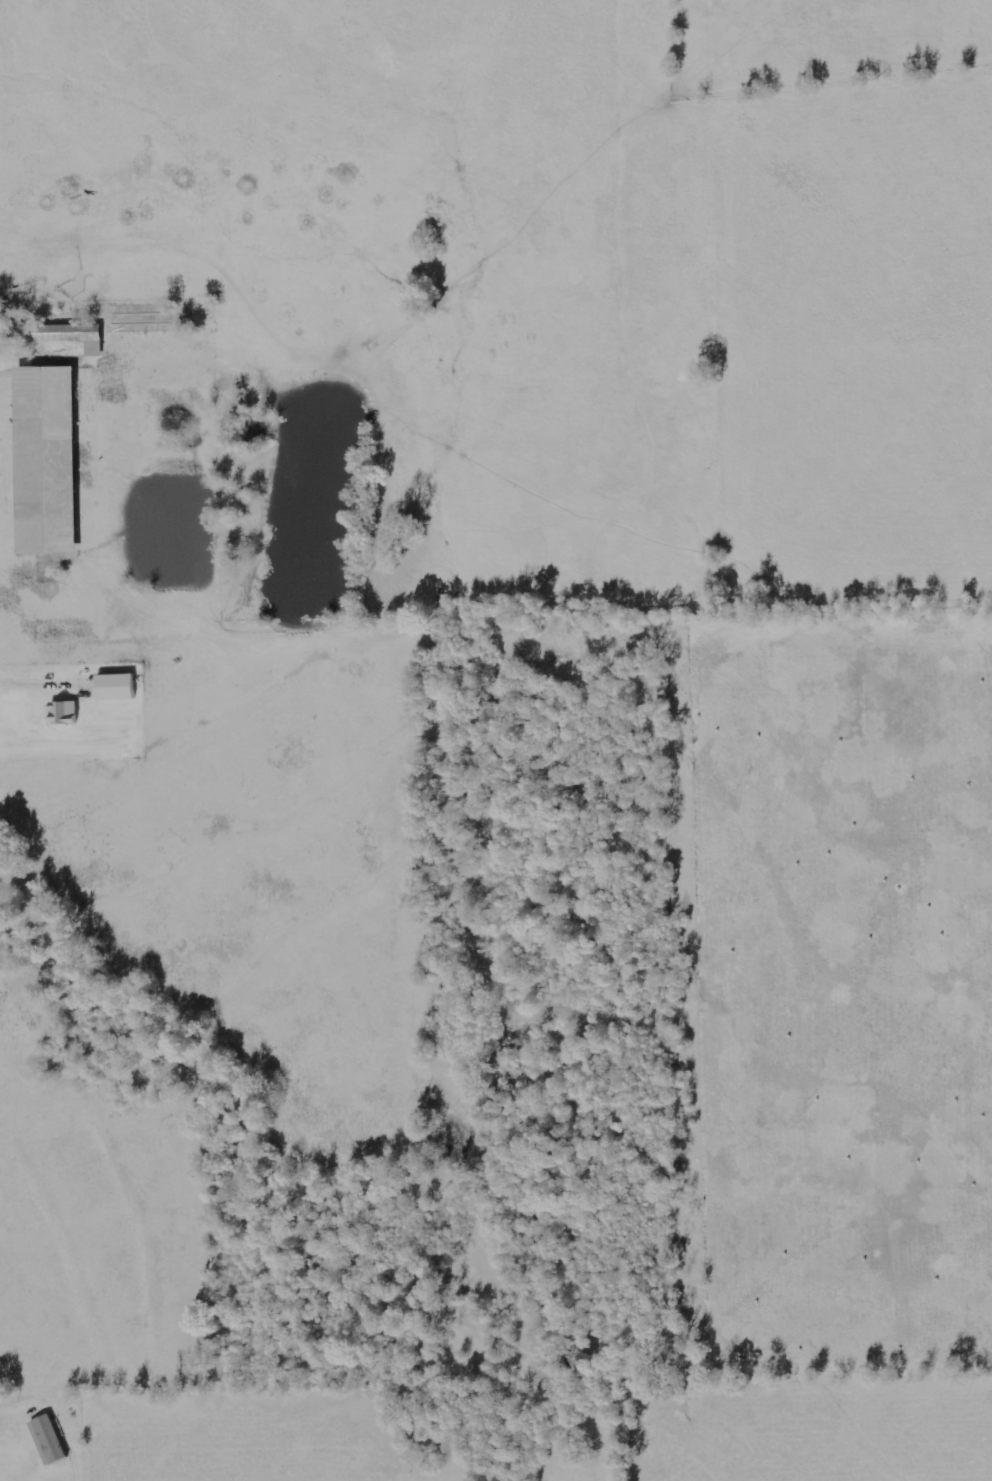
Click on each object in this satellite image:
building: (113, 687)
building: (62, 713)
building: (46, 1439)

